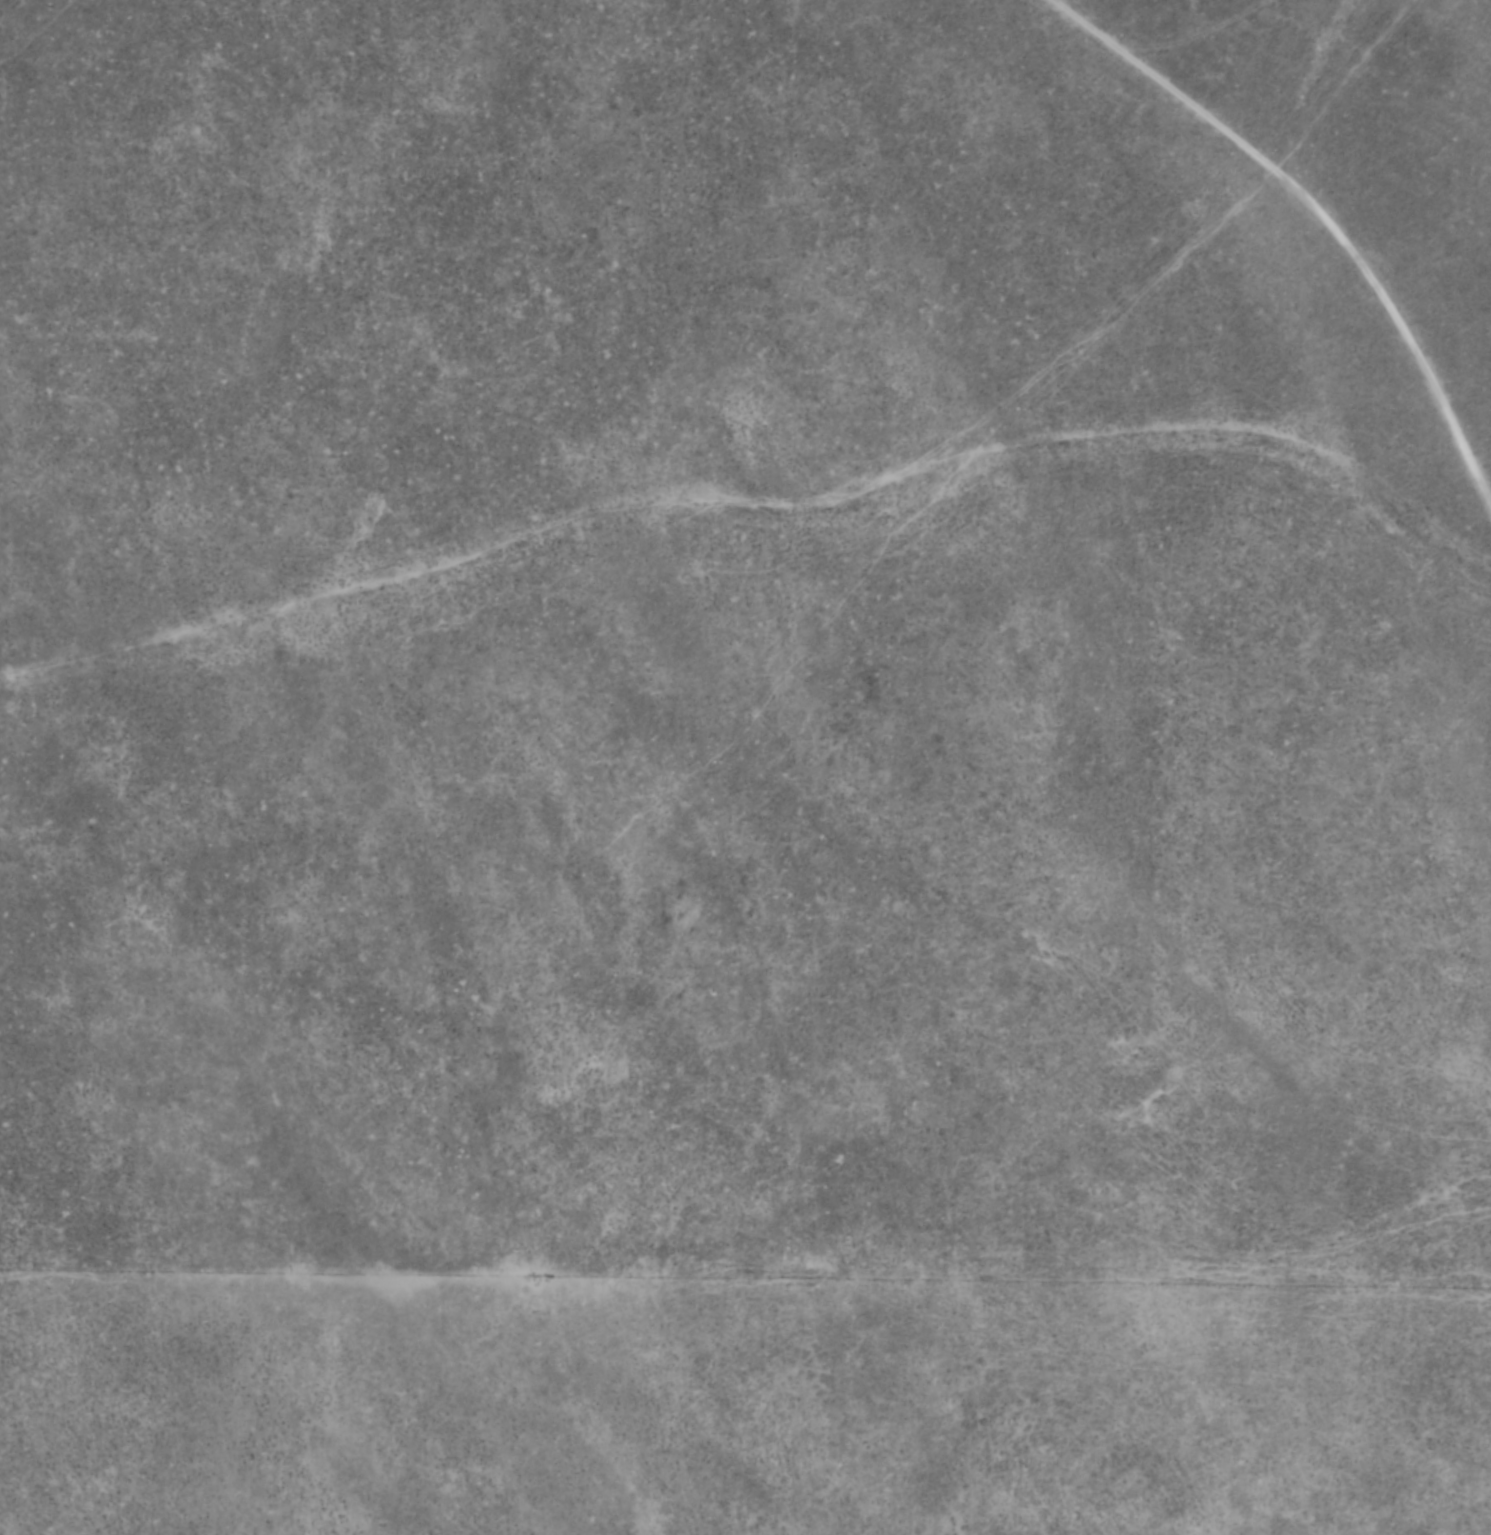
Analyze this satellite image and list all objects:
road: (1317, 212)

